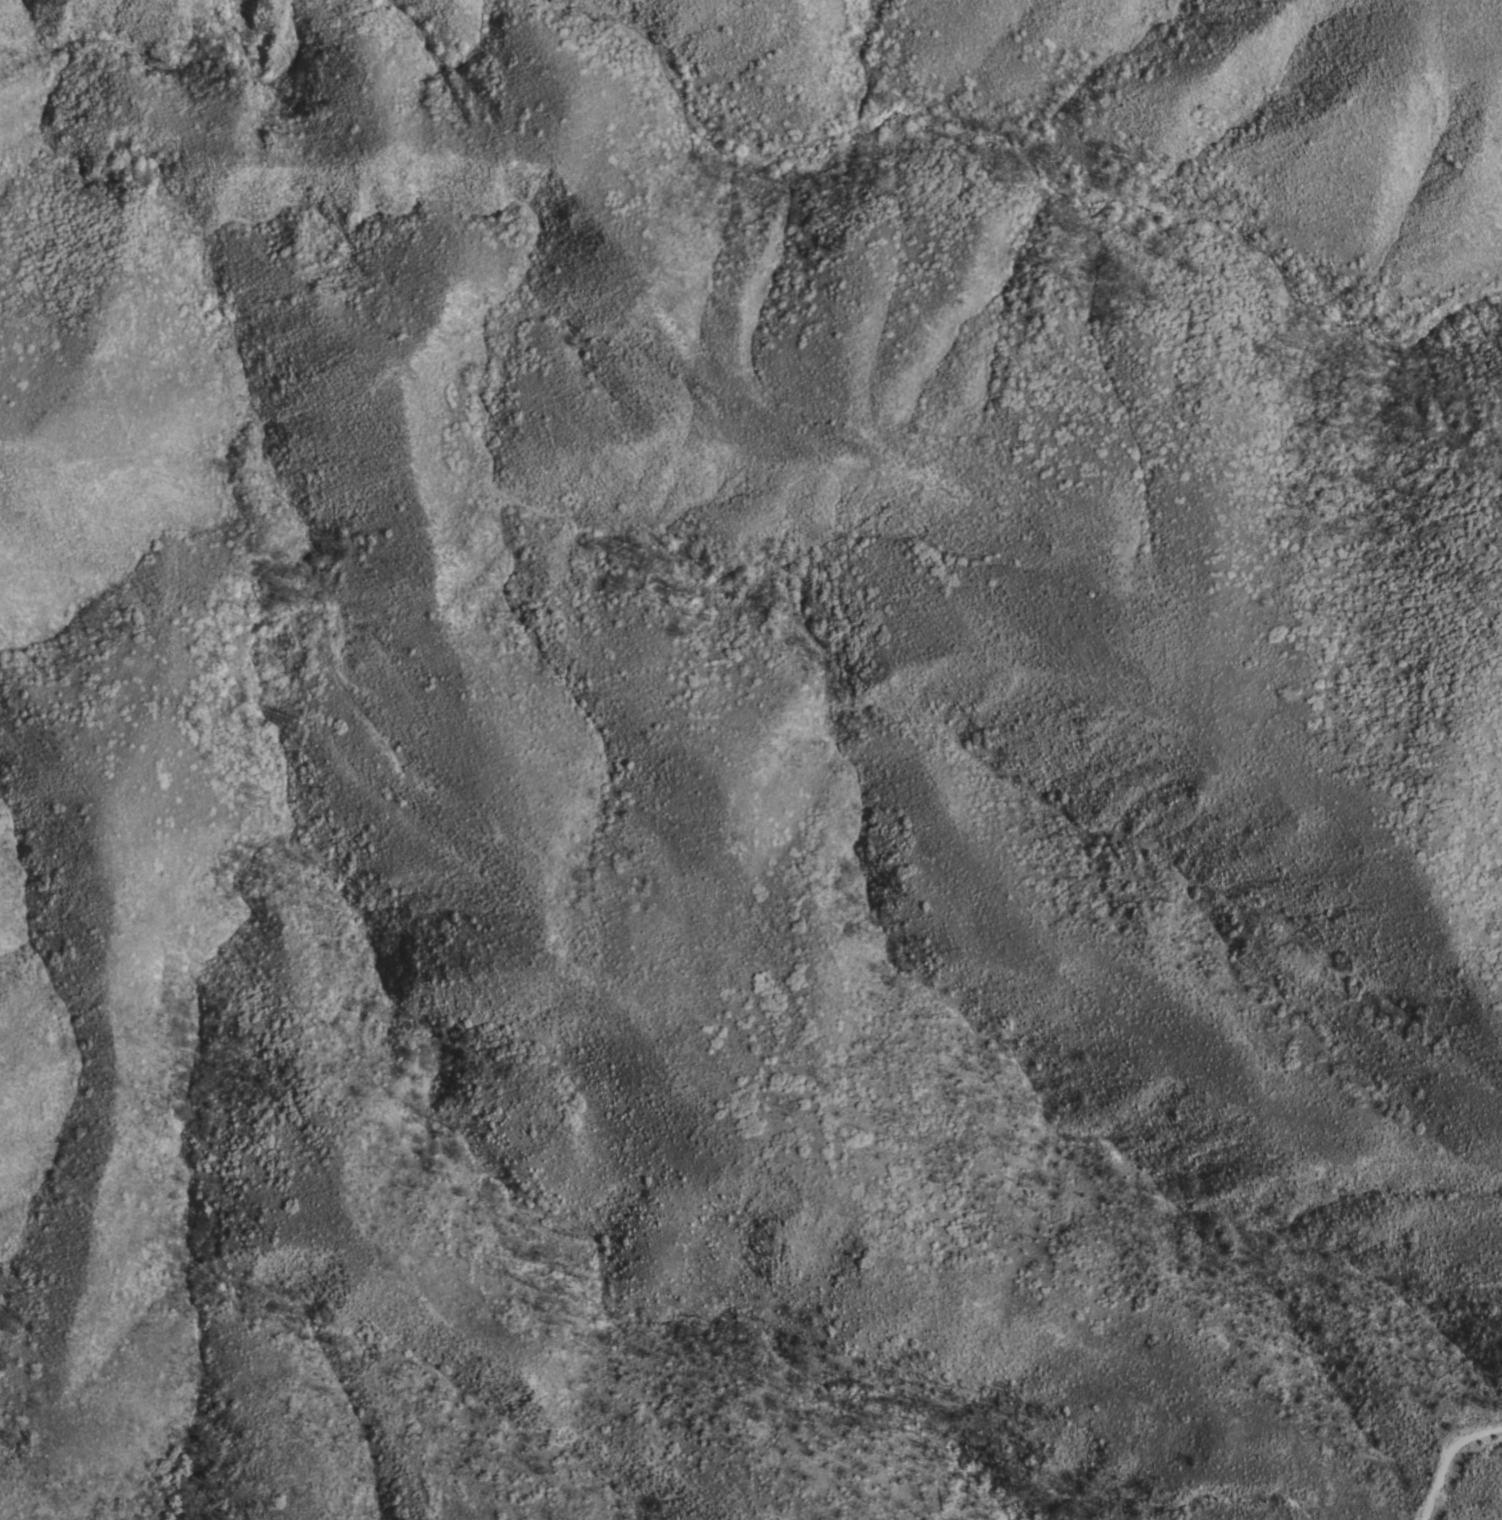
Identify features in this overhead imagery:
road: (1452, 1456)

